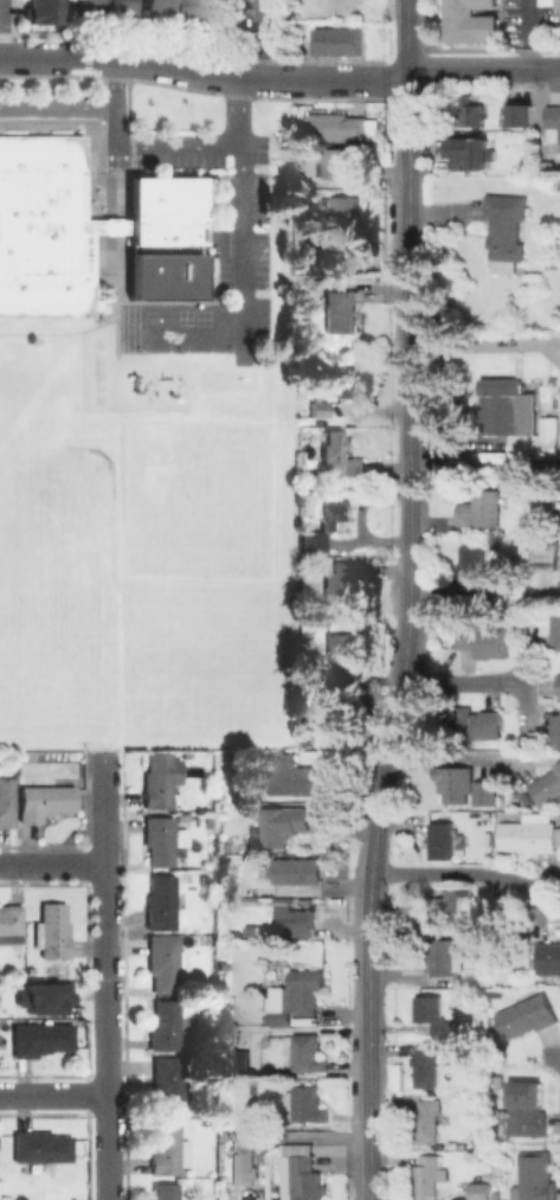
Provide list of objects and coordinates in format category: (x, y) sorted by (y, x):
building: (558, 4)
building: (108, 5)
building: (175, 7)
building: (38, 12)
road: (523, 12)
building: (469, 20)
road: (406, 37)
road: (262, 39)
building: (340, 43)
road: (483, 69)
road: (204, 72)
building: (470, 111)
building: (522, 115)
building: (554, 121)
road: (407, 124)
building: (337, 127)
road: (165, 148)
building: (472, 153)
building: (346, 162)
building: (530, 168)
building: (556, 179)
building: (160, 210)
building: (341, 214)
building: (44, 227)
building: (506, 229)
road: (238, 237)
building: (161, 248)
building: (160, 276)
building: (341, 312)
building: (554, 359)
building: (349, 381)
building: (318, 408)
building: (519, 421)
building: (335, 451)
building: (353, 475)
building: (482, 508)
building: (336, 511)
building: (310, 538)
building: (547, 557)
building: (478, 571)
building: (345, 588)
building: (558, 628)
building: (484, 640)
building: (341, 659)
road: (463, 681)
building: (559, 684)
road: (399, 688)
building: (475, 721)
building: (558, 724)
building: (310, 734)
building: (291, 777)
building: (453, 778)
building: (160, 779)
building: (547, 784)
building: (488, 790)
building: (44, 801)
building: (6, 802)
building: (182, 815)
building: (283, 826)
building: (529, 835)
building: (162, 839)
building: (443, 839)
road: (53, 864)
building: (298, 872)
road: (459, 873)
building: (205, 878)
building: (161, 901)
building: (448, 906)
building: (11, 918)
building: (297, 922)
building: (266, 928)
building: (52, 930)
building: (443, 956)
building: (549, 956)
building: (165, 961)
building: (223, 965)
road: (107, 976)
building: (297, 995)
building: (41, 997)
building: (433, 1014)
building: (528, 1018)
building: (163, 1025)
building: (41, 1038)
building: (307, 1051)
building: (236, 1059)
building: (426, 1065)
building: (496, 1080)
building: (167, 1084)
road: (53, 1095)
building: (303, 1106)
building: (527, 1108)
building: (427, 1119)
building: (479, 1131)
building: (39, 1146)
building: (163, 1146)
building: (245, 1166)
building: (302, 1173)
building: (430, 1174)
building: (536, 1177)
building: (165, 1192)
building: (481, 1192)

